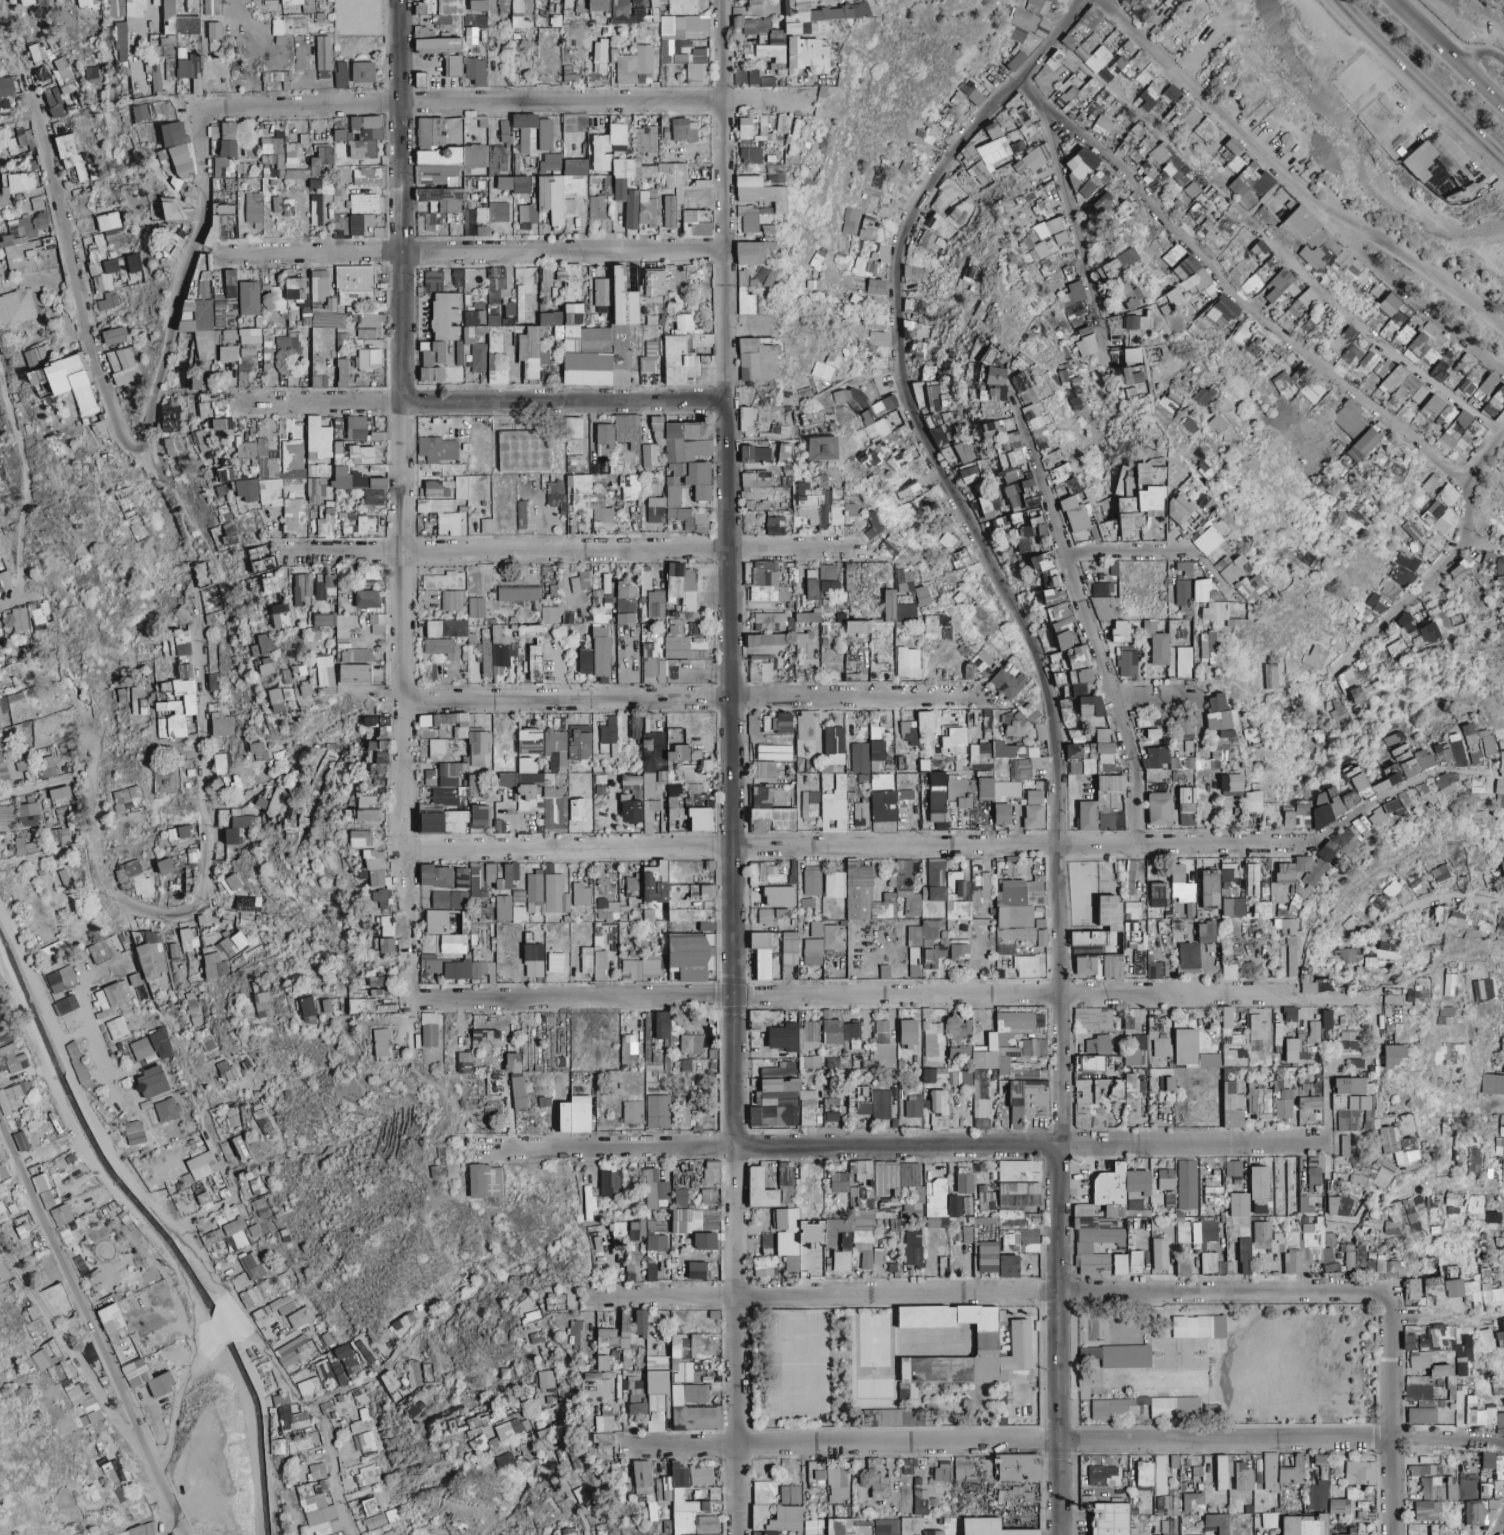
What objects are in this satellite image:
park: (873, 1338)
park: (1183, 1354)
park: (796, 1360)
park: (839, 1378)
park: (1296, 1379)
park: (874, 1381)
park: (960, 1400)
parking lot: (1025, 1401)

